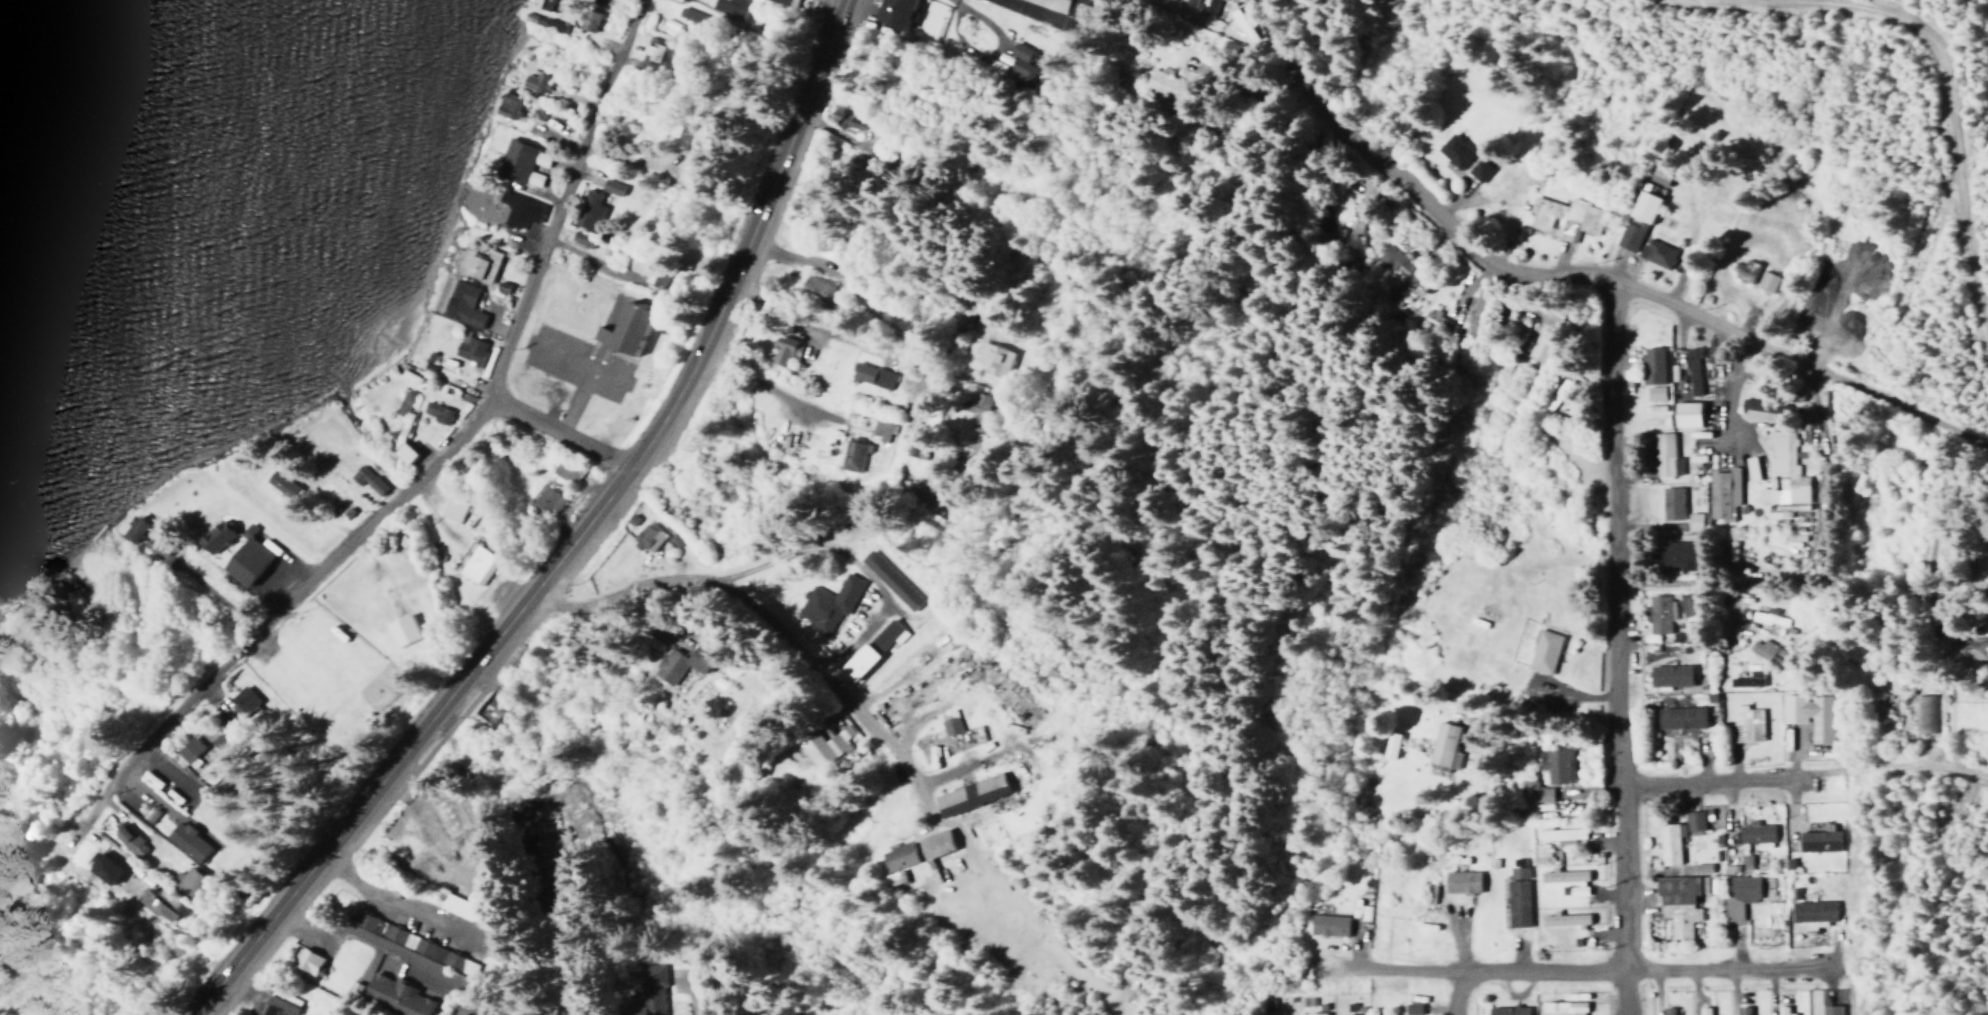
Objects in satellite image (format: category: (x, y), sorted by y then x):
building: (629, 0)
building: (787, 0)
building: (1189, 2)
building: (597, 3)
building: (539, 4)
building: (1050, 4)
building: (1207, 8)
building: (893, 13)
building: (585, 20)
building: (540, 21)
building: (652, 48)
road: (1289, 52)
building: (1019, 66)
building: (535, 81)
building: (1162, 83)
building: (508, 105)
building: (851, 117)
building: (1460, 148)
building: (520, 161)
building: (1483, 167)
building: (1657, 174)
building: (610, 186)
road: (557, 198)
building: (1642, 205)
building: (517, 208)
building: (587, 209)
building: (1569, 212)
building: (1356, 223)
building: (1635, 233)
building: (579, 239)
building: (1661, 250)
building: (476, 263)
building: (631, 263)
road: (1563, 269)
road: (821, 270)
building: (1743, 270)
building: (1396, 272)
building: (1765, 280)
building: (820, 292)
building: (1471, 296)
building: (460, 303)
building: (1819, 313)
building: (624, 327)
building: (1515, 328)
building: (1542, 335)
building: (466, 346)
building: (782, 350)
building: (990, 357)
building: (1650, 364)
building: (1691, 370)
building: (869, 374)
building: (1653, 393)
building: (1554, 395)
building: (400, 403)
building: (979, 403)
road: (1919, 408)
building: (434, 411)
building: (1685, 413)
building: (400, 426)
road: (557, 428)
building: (881, 429)
building: (909, 438)
building: (1669, 450)
building: (850, 453)
building: (1750, 468)
building: (564, 470)
building: (1781, 474)
building: (365, 478)
building: (281, 483)
building: (1725, 490)
building: (1680, 499)
building: (544, 501)
building: (451, 508)
building: (132, 527)
building: (214, 536)
road: (568, 538)
building: (645, 538)
building: (1682, 552)
building: (244, 557)
building: (1982, 563)
building: (476, 564)
building: (888, 579)
road: (676, 584)
road: (300, 590)
building: (827, 603)
building: (1688, 604)
building: (1658, 614)
building: (1762, 615)
road: (756, 625)
building: (400, 629)
building: (885, 634)
road: (1653, 641)
road: (1616, 646)
building: (1552, 648)
building: (1760, 648)
building: (1964, 648)
building: (858, 660)
building: (680, 662)
building: (1669, 674)
building: (1746, 679)
road: (1581, 689)
building: (1922, 712)
building: (1807, 713)
building: (1679, 717)
building: (948, 724)
building: (1742, 724)
road: (883, 732)
building: (1388, 744)
building: (823, 746)
building: (1442, 746)
building: (191, 753)
building: (1552, 765)
road: (1706, 776)
building: (1531, 791)
building: (969, 794)
building: (1754, 833)
building: (1558, 834)
building: (1674, 835)
building: (126, 839)
building: (183, 840)
building: (1817, 840)
building: (934, 843)
building: (1539, 853)
building: (897, 856)
building: (100, 867)
building: (1699, 867)
building: (1565, 878)
building: (1459, 881)
building: (186, 882)
building: (1427, 893)
building: (1737, 895)
building: (1516, 896)
building: (1678, 901)
building: (156, 903)
building: (1811, 914)
building: (1563, 919)
building: (1326, 924)
building: (305, 960)
road: (1582, 966)
building: (648, 992)
road: (1450, 992)
building: (393, 996)
building: (277, 1003)
building: (1563, 1007)
building: (1347, 1008)
building: (1411, 1008)
building: (1828, 1009)
building: (1506, 1010)
building: (1666, 1010)
building: (1703, 1010)
building: (1741, 1010)
building: (1781, 1010)
building: (769, 1012)
building: (1310, 1013)
building: (1276, 1014)

